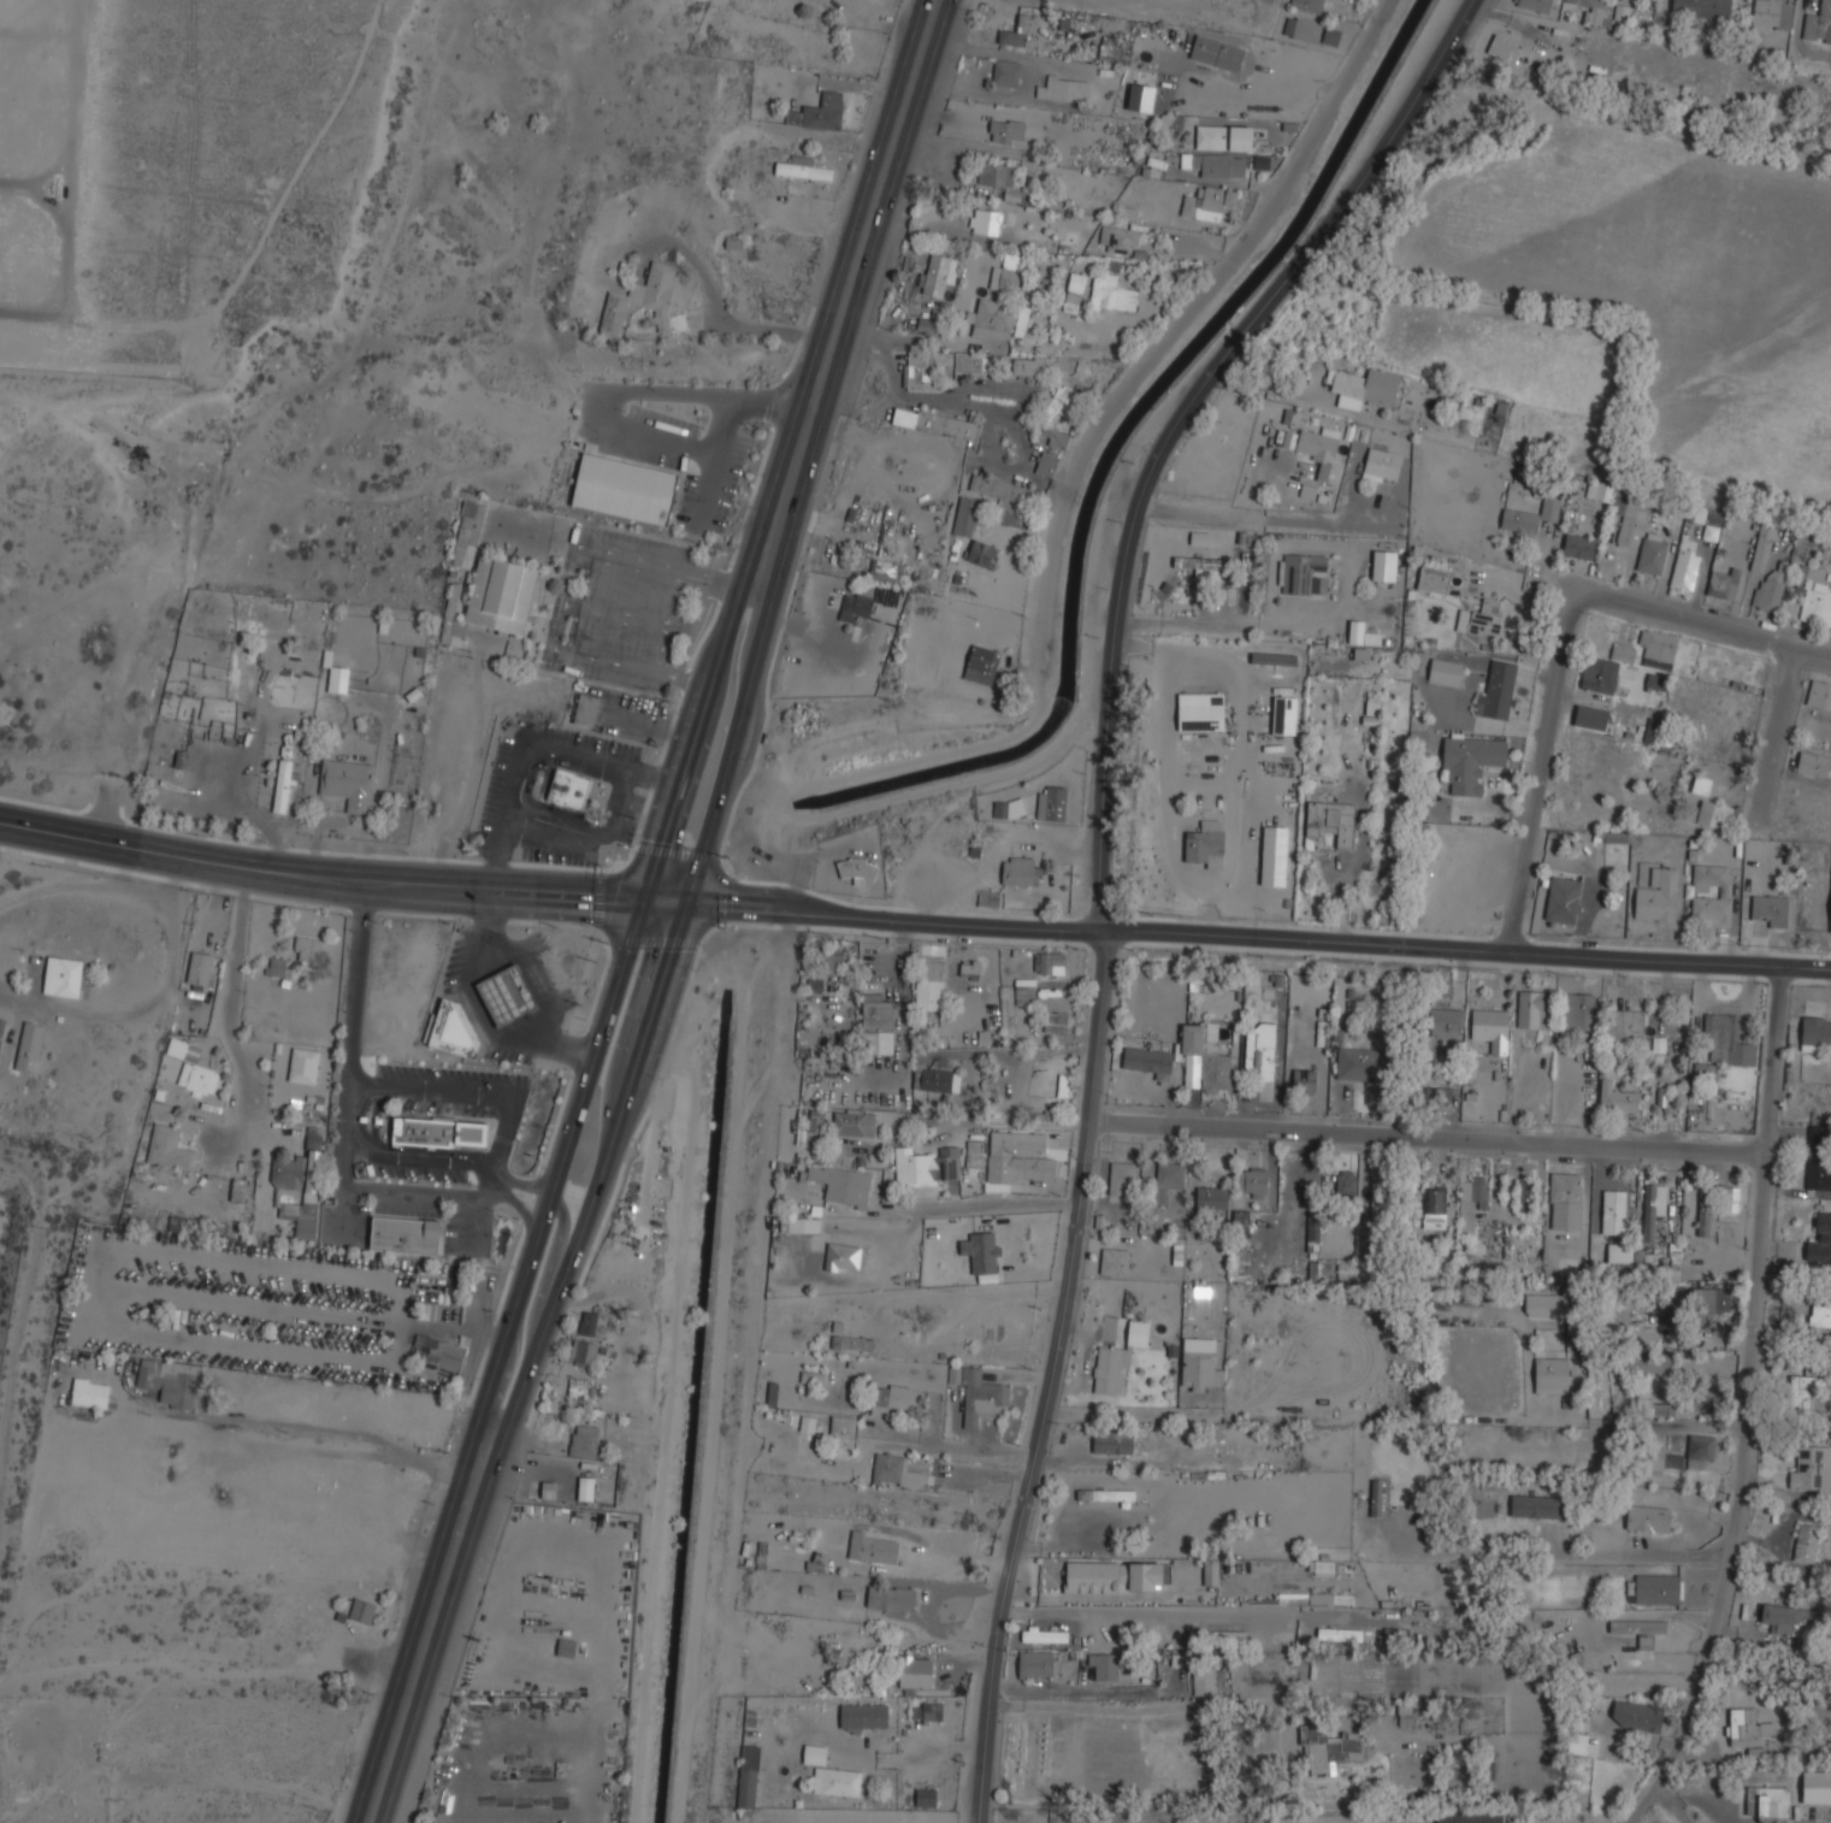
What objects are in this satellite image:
building: (1309, 4)
building: (1538, 5)
building: (1702, 7)
building: (1590, 8)
building: (1620, 12)
building: (1772, 14)
building: (1819, 24)
building: (1303, 28)
building: (1016, 31)
building: (1116, 51)
building: (1505, 51)
building: (1224, 54)
building: (1006, 72)
building: (1065, 87)
building: (1139, 90)
building: (823, 112)
building: (1166, 123)
building: (1008, 130)
building: (1223, 136)
building: (1221, 164)
building: (803, 169)
park: (181, 170)
building: (1006, 183)
building: (1209, 201)
building: (986, 220)
building: (1120, 238)
crop: (1634, 264)
building: (939, 273)
building: (1008, 273)
building: (1076, 288)
road: (846, 291)
building: (1111, 293)
building: (640, 299)
building: (993, 318)
building: (1024, 320)
road: (1176, 323)
building: (969, 362)
building: (1028, 365)
building: (917, 371)
building: (1365, 387)
road: (651, 391)
road: (1331, 408)
building: (1047, 419)
building: (935, 421)
building: (1317, 449)
building: (1381, 461)
road: (710, 462)
building: (1047, 462)
road: (1254, 483)
building: (1002, 488)
building: (622, 489)
building: (1599, 490)
building: (1322, 495)
building: (1707, 514)
building: (965, 515)
building: (1008, 515)
building: (1530, 515)
building: (1629, 518)
road: (1290, 521)
building: (467, 530)
building: (1578, 545)
building: (1762, 545)
building: (981, 551)
building: (1652, 551)
building: (1203, 565)
building: (1384, 565)
building: (1685, 570)
building: (1299, 571)
building: (1434, 579)
building: (1726, 583)
building: (1771, 589)
building: (1815, 592)
building: (500, 595)
building: (856, 607)
building: (1482, 618)
road: (1569, 644)
building: (1659, 645)
building: (1274, 662)
building: (981, 663)
building: (1606, 667)
building: (1445, 669)
building: (337, 679)
building: (1656, 680)
building: (1498, 690)
building: (1819, 692)
building: (586, 710)
building: (1200, 710)
building: (1284, 714)
building: (1591, 716)
building: (1652, 730)
road: (1780, 731)
road: (696, 739)
road: (734, 743)
building: (1470, 760)
building: (1814, 763)
building: (347, 783)
building: (1701, 784)
building: (282, 785)
building: (568, 789)
building: (1051, 802)
building: (1009, 808)
building: (1714, 813)
building: (1331, 820)
building: (1205, 844)
road: (1099, 862)
building: (857, 867)
building: (1021, 871)
road: (321, 885)
building: (1725, 892)
building: (1564, 895)
building: (1658, 895)
building: (990, 897)
traffic signals: (648, 901)
road: (668, 902)
traffic signals: (690, 903)
building: (1771, 909)
building: (1830, 916)
road: (1260, 936)
building: (309, 948)
building: (1050, 962)
building: (279, 967)
building: (826, 967)
building: (970, 967)
building: (202, 968)
building: (63, 977)
building: (929, 981)
building: (1024, 991)
building: (508, 996)
road: (230, 1005)
building: (1535, 1009)
building: (1576, 1011)
building: (1057, 1021)
building: (1447, 1021)
building: (878, 1023)
building: (1623, 1025)
building: (1, 1026)
building: (1490, 1027)
building: (453, 1032)
building: (1815, 1032)
building: (1723, 1036)
building: (29, 1043)
building: (1207, 1058)
building: (1140, 1061)
building: (1358, 1062)
building: (303, 1064)
building: (191, 1066)
building: (1264, 1074)
building: (935, 1079)
building: (1304, 1080)
parking lot: (451, 1090)
building: (1617, 1098)
building: (1469, 1101)
road: (373, 1115)
road: (359, 1119)
building: (817, 1120)
building: (854, 1122)
road: (1015, 1125)
road: (503, 1127)
building: (437, 1132)
road: (1428, 1133)
building: (170, 1148)
road: (343, 1148)
building: (974, 1152)
building: (1018, 1156)
building: (1819, 1157)
road: (562, 1162)
building: (927, 1164)
road: (601, 1170)
parking lot: (414, 1172)
road: (501, 1173)
building: (1121, 1174)
building: (1168, 1179)
building: (1256, 1181)
building: (1346, 1181)
building: (840, 1182)
building: (300, 1185)
road: (525, 1185)
building: (238, 1191)
building: (1380, 1192)
building: (1525, 1194)
building: (1212, 1197)
building: (1731, 1198)
building: (1565, 1200)
building: (1471, 1202)
road: (982, 1205)
building: (1617, 1205)
building: (1653, 1205)
building: (1435, 1208)
building: (1705, 1209)
building: (1240, 1223)
building: (799, 1225)
building: (406, 1234)
building: (1287, 1234)
building: (1820, 1240)
building: (981, 1250)
building: (1619, 1253)
building: (845, 1256)
building: (1115, 1261)
building: (1352, 1268)
road: (548, 1280)
road: (896, 1303)
building: (1548, 1304)
building: (429, 1311)
building: (1664, 1314)
building: (1820, 1315)
park: (26, 1322)
building: (589, 1322)
building: (850, 1343)
building: (441, 1351)
building: (584, 1351)
building: (1117, 1356)
building: (1200, 1364)
building: (1552, 1370)
building: (811, 1377)
building: (171, 1382)
building: (577, 1386)
building: (1801, 1391)
building: (93, 1392)
building: (773, 1392)
building: (977, 1392)
building: (892, 1397)
road: (1749, 1406)
road: (1126, 1412)
building: (435, 1422)
building: (808, 1422)
building: (555, 1426)
building: (843, 1430)
building: (585, 1440)
building: (1112, 1441)
building: (1701, 1446)
building: (1676, 1461)
building: (1811, 1467)
building: (894, 1469)
building: (586, 1487)
building: (548, 1489)
building: (1106, 1493)
building: (1375, 1498)
building: (1529, 1506)
building: (1649, 1517)
building: (1807, 1541)
building: (861, 1546)
road: (1569, 1554)
building: (1322, 1567)
building: (1211, 1571)
building: (1117, 1576)
building: (1653, 1588)
building: (891, 1597)
building: (1331, 1598)
building: (1293, 1599)
building: (362, 1611)
road: (1139, 1613)
building: (530, 1615)
building: (1786, 1617)
road: (429, 1624)
building: (1637, 1627)
building: (1340, 1634)
building: (1045, 1635)
building: (1217, 1636)
building: (1392, 1636)
building: (566, 1647)
building: (1573, 1662)
building: (1035, 1664)
building: (1105, 1665)
building: (915, 1670)
building: (1204, 1681)
road: (1201, 1709)
building: (926, 1710)
building: (1407, 1712)
building: (863, 1716)
building: (1637, 1716)
building: (1747, 1733)
building: (1576, 1744)
building: (1330, 1747)
building: (1413, 1772)
building: (831, 1774)
building: (749, 1775)
building: (1817, 1786)
building: (921, 1797)
building: (1768, 1800)
building: (1814, 1816)
building: (1469, 1817)

